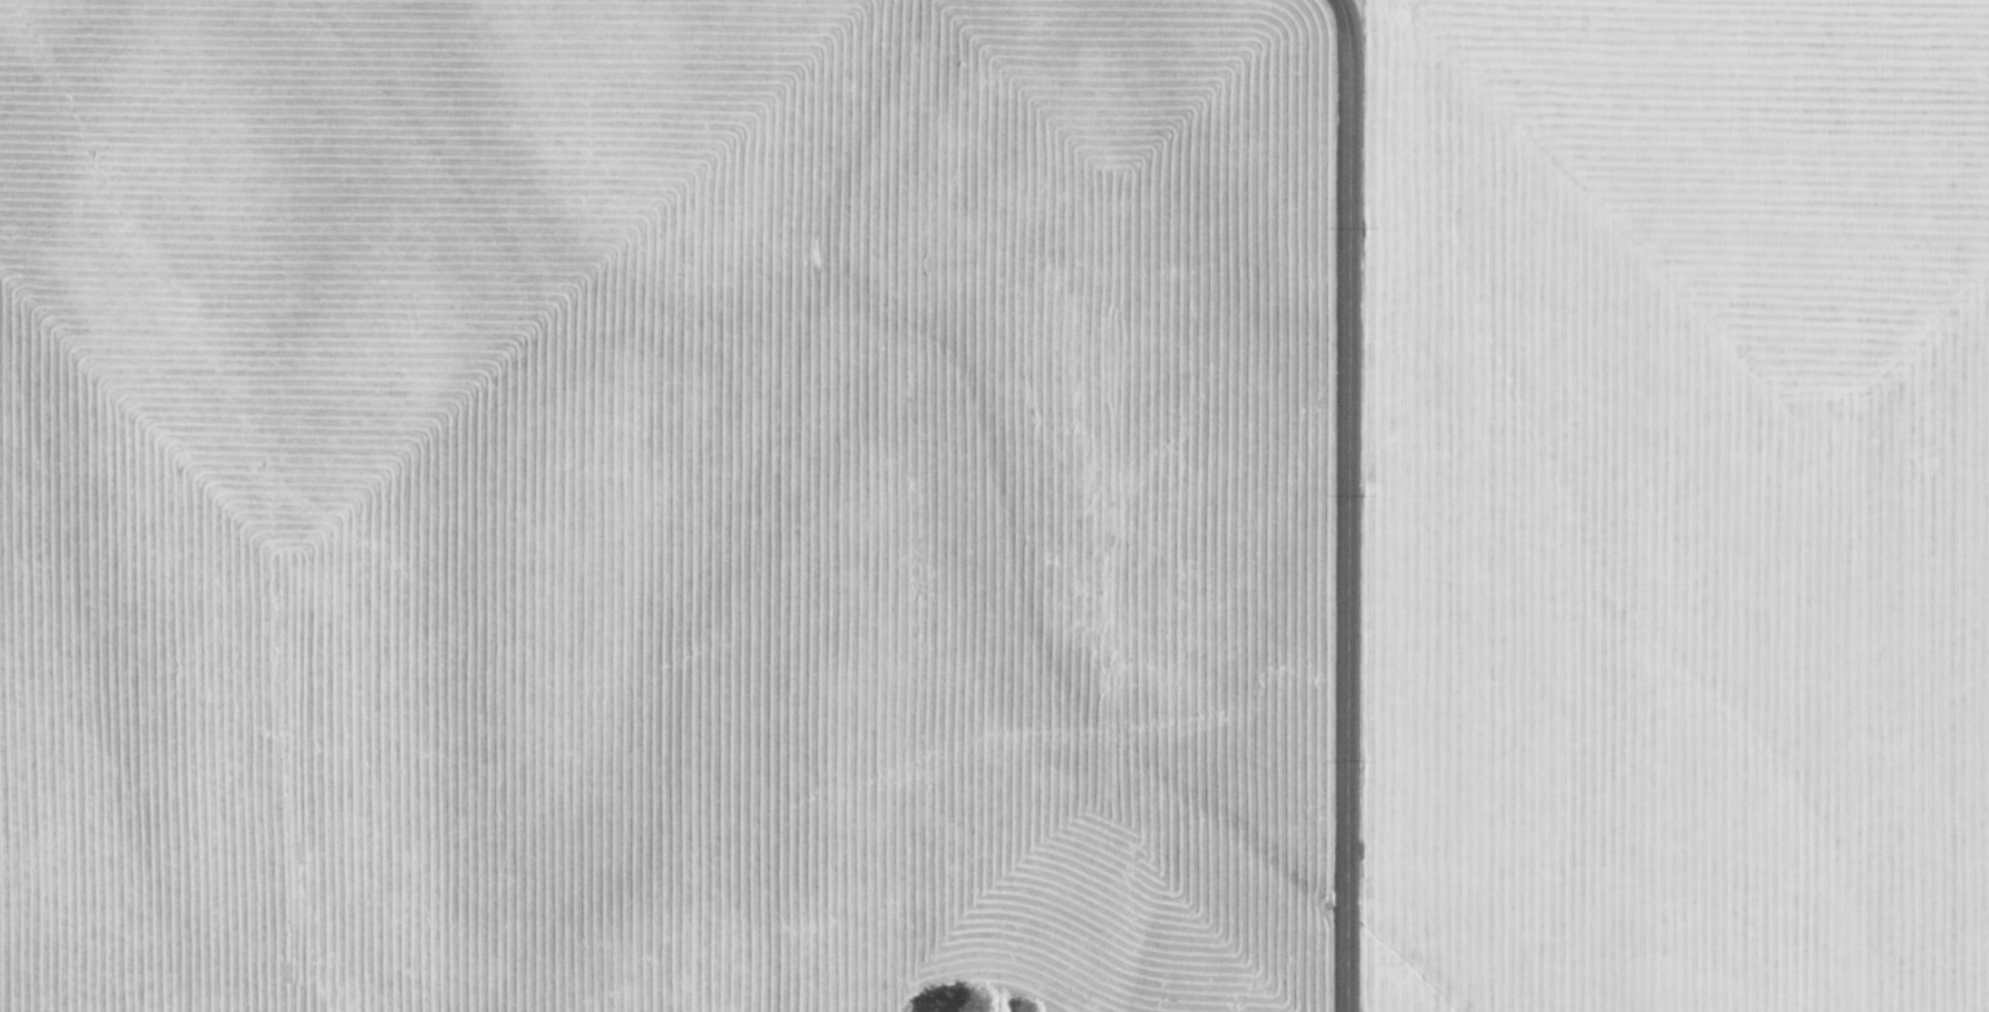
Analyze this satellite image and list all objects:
road: (1360, 502)
crop: (994, 506)

